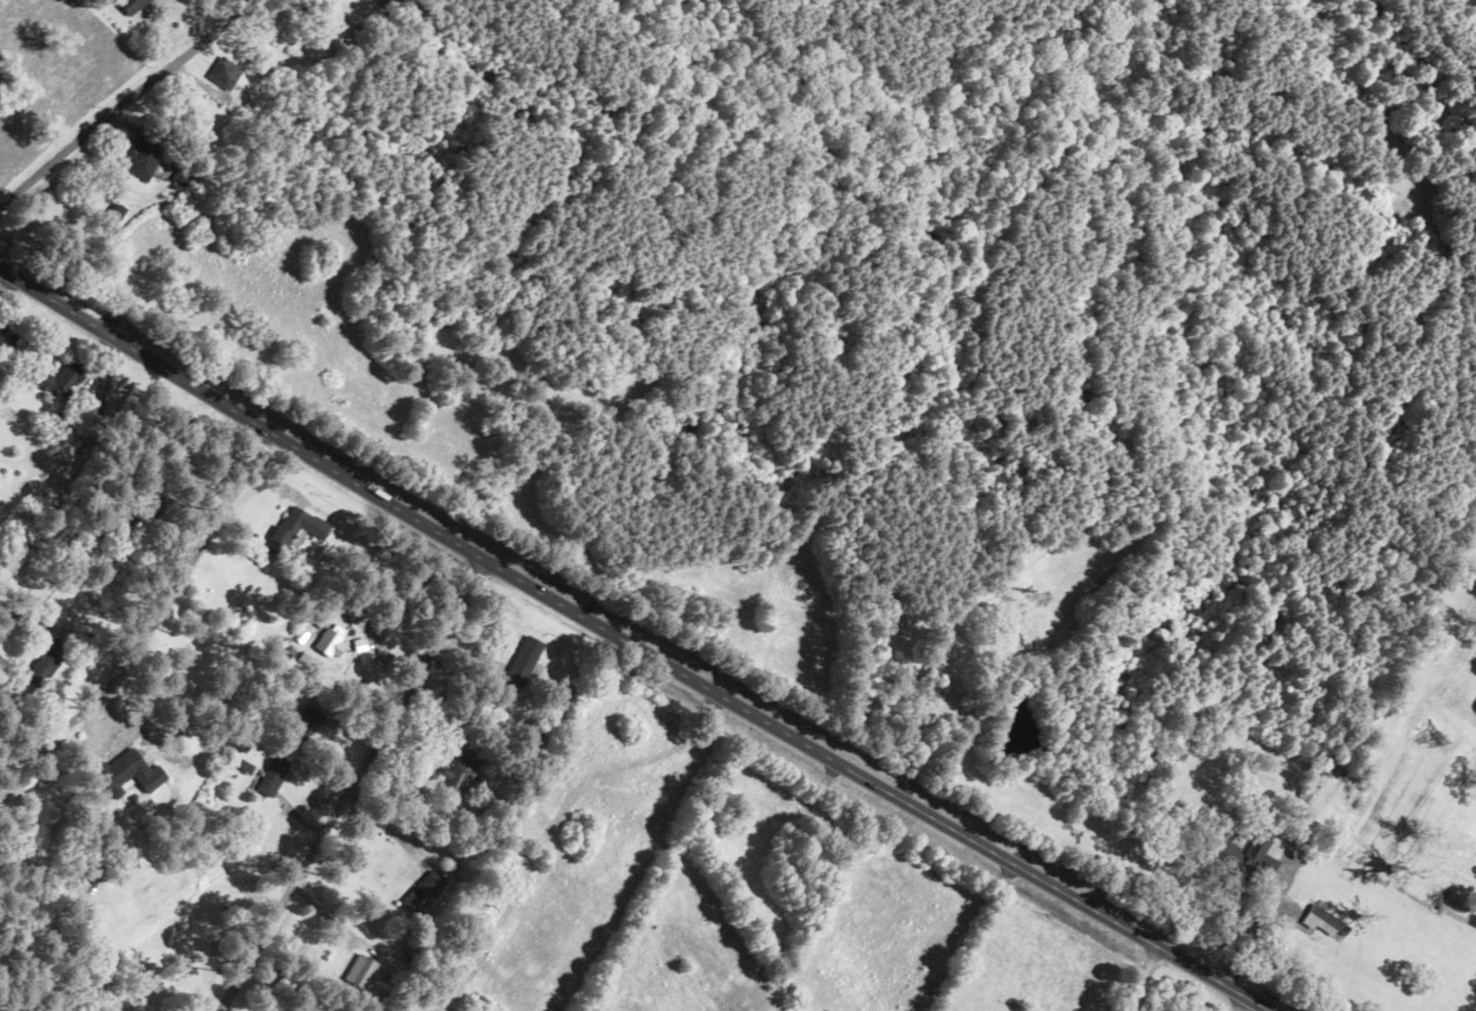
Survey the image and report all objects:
building: (129, 5)
building: (223, 72)
building: (140, 157)
building: (113, 212)
building: (6, 337)
building: (61, 379)
building: (59, 428)
building: (293, 529)
road: (182, 566)
building: (327, 642)
road: (630, 644)
building: (520, 659)
building: (44, 661)
building: (929, 680)
building: (306, 722)
building: (120, 770)
building: (461, 774)
building: (273, 775)
road: (349, 785)
building: (1256, 855)
building: (422, 889)
building: (1322, 921)
road: (976, 937)
building: (359, 970)
road: (1138, 978)
gas station: (1236, 1004)
road: (1241, 1004)
building: (140, 1010)
building: (300, 1010)

